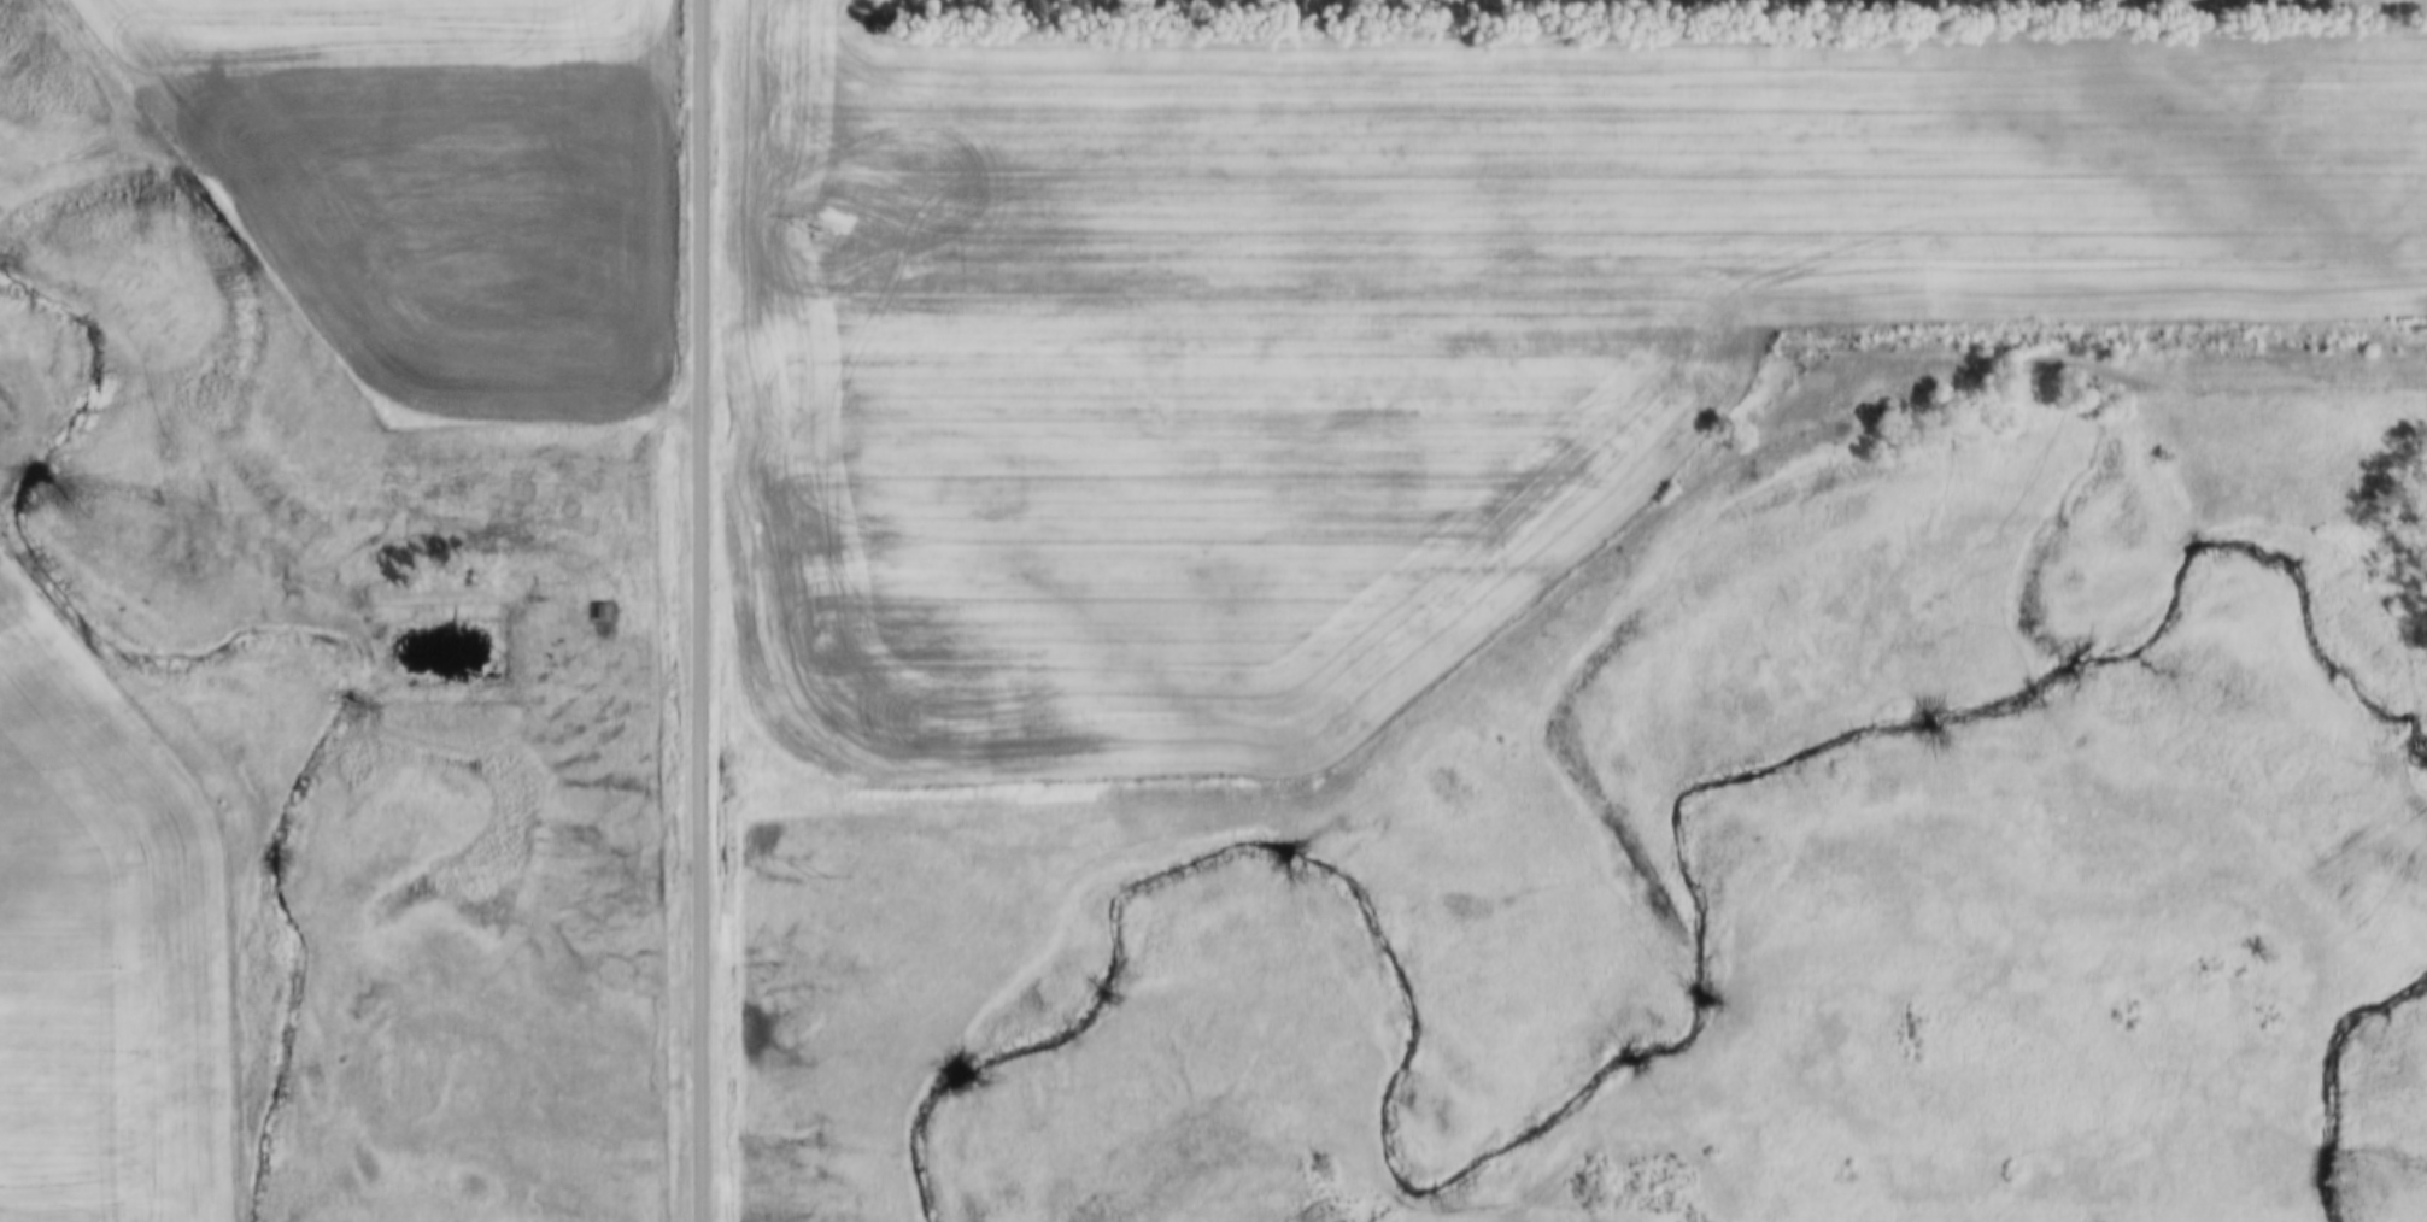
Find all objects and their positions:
power tower: (815, 237)
road: (699, 610)
power tower: (814, 881)

